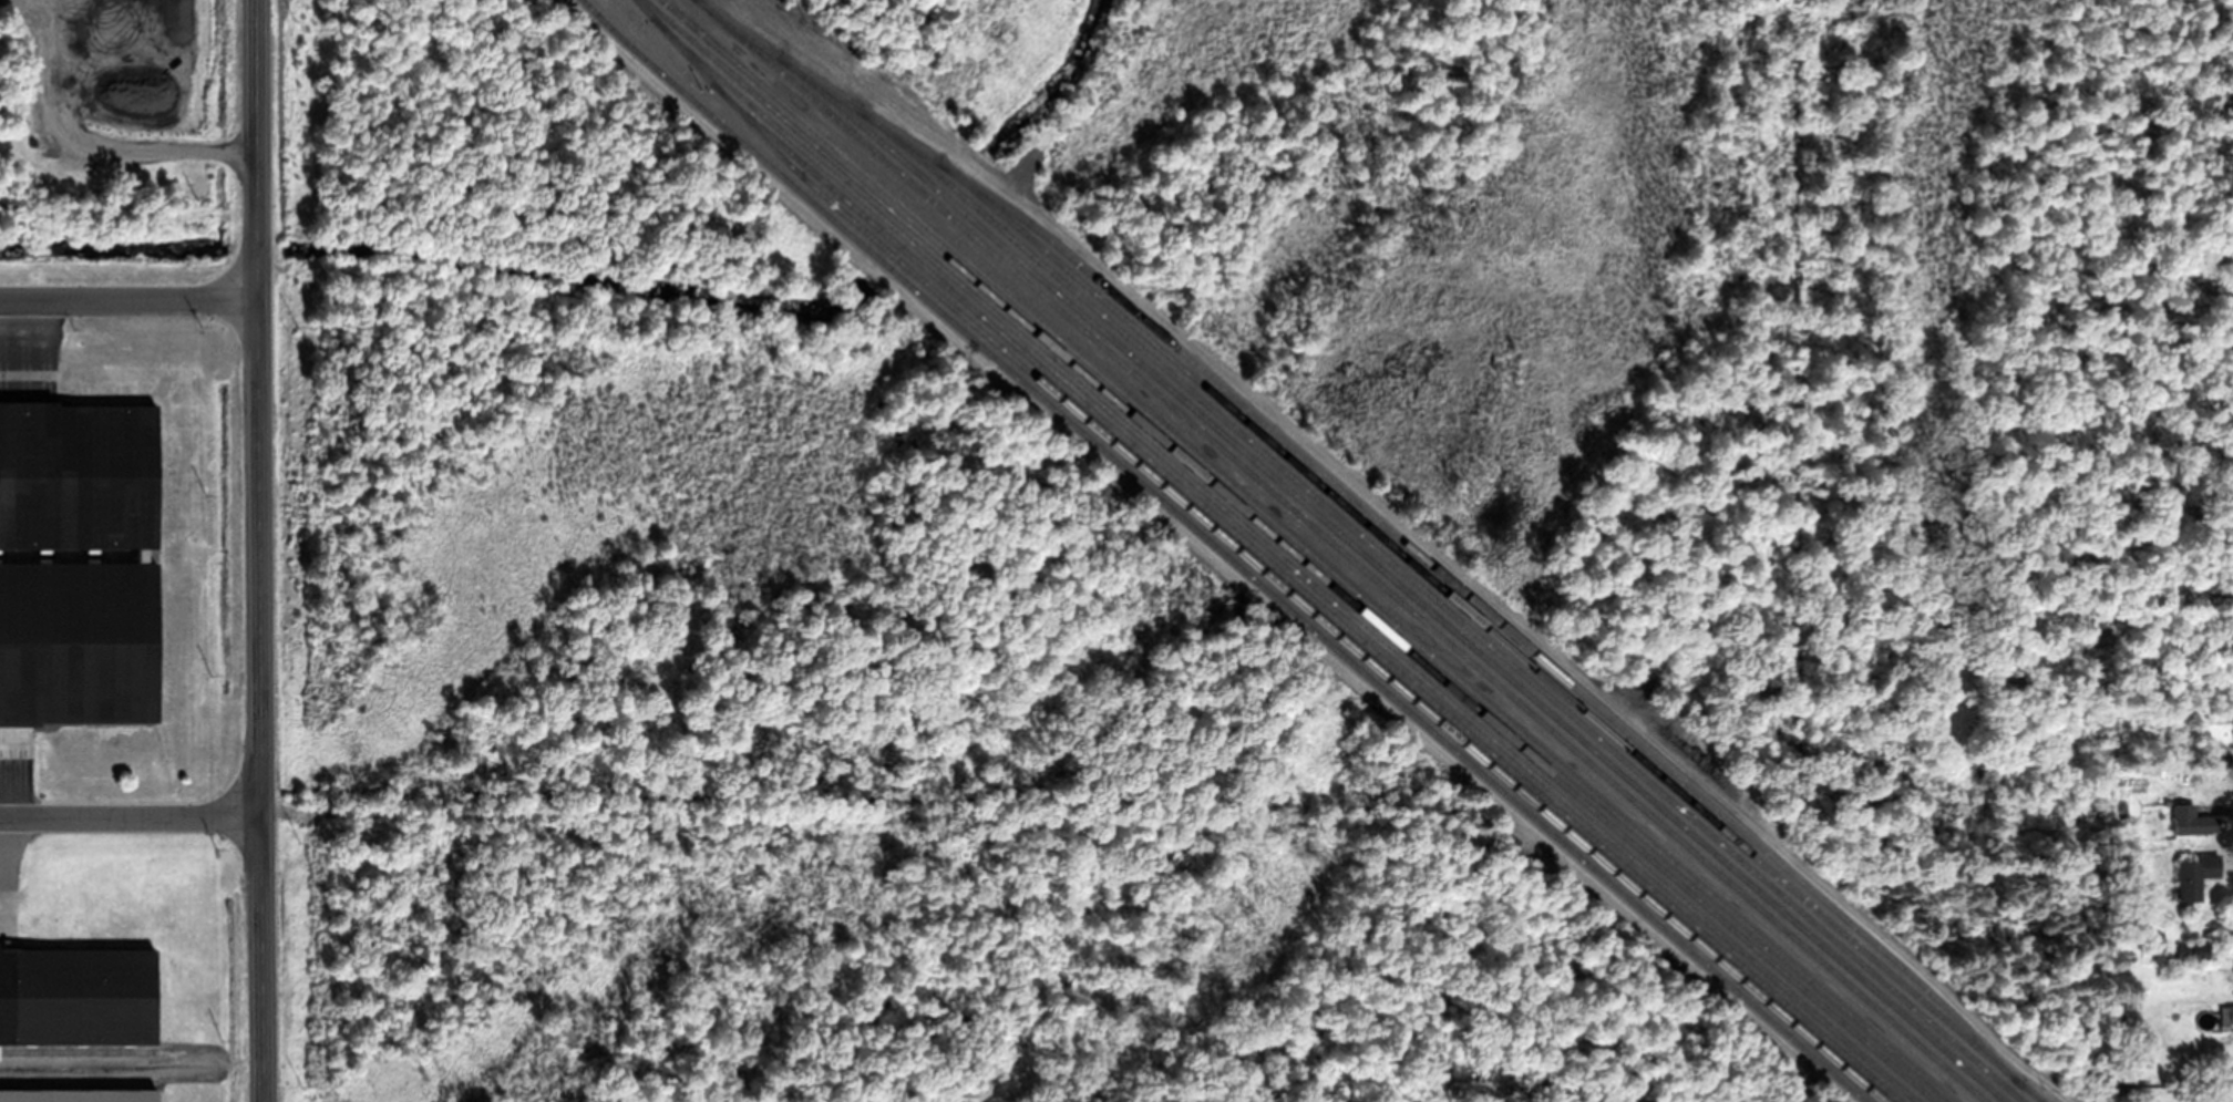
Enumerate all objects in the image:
road: (126, 300)
railway: (1377, 517)
road: (253, 550)
railway: (1290, 550)
railway: (1307, 550)
road: (1326, 550)
railway: (1342, 550)
railway: (1223, 552)
railway: (1278, 554)
railway: (55, 555)
railway: (1251, 560)
building: (78, 563)
railway: (55, 570)
railway: (1393, 578)
railway: (1307, 594)
railway: (1443, 605)
railway: (1492, 631)
road: (127, 816)
building: (2203, 825)
building: (2193, 876)
building: (2192, 950)
building: (76, 996)
building: (2225, 1015)
railway: (76, 1051)
railway: (78, 1082)
building: (79, 1094)

